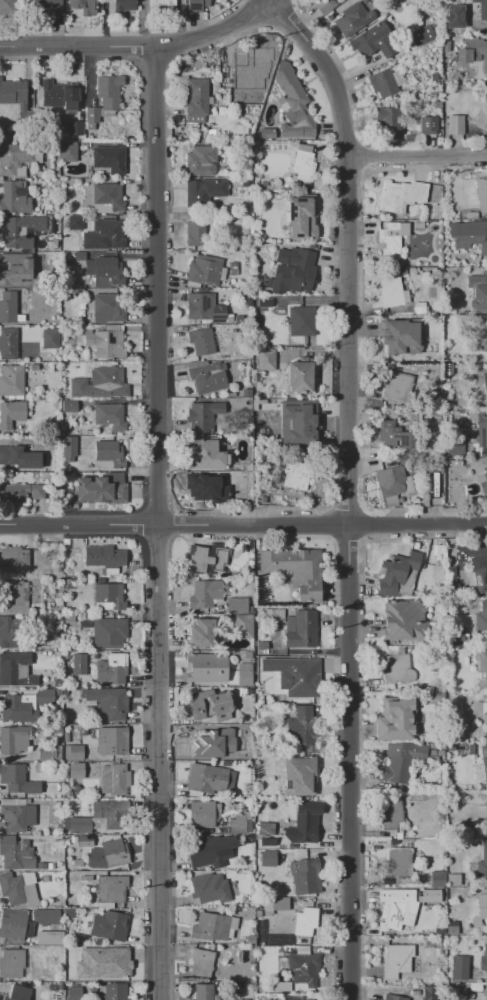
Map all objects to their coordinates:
building: (194, 5)
building: (323, 5)
building: (46, 6)
building: (82, 6)
building: (161, 6)
building: (7, 7)
building: (124, 7)
building: (466, 14)
building: (353, 19)
building: (421, 36)
building: (368, 39)
road: (138, 45)
building: (473, 53)
building: (244, 72)
building: (385, 82)
building: (109, 92)
building: (13, 93)
building: (59, 97)
building: (196, 99)
building: (293, 106)
building: (482, 115)
building: (91, 117)
building: (388, 120)
building: (455, 124)
building: (428, 125)
building: (75, 128)
building: (408, 138)
building: (68, 152)
building: (18, 158)
building: (110, 158)
building: (201, 161)
road: (416, 161)
building: (303, 163)
building: (204, 192)
building: (482, 194)
building: (401, 196)
building: (14, 198)
building: (107, 198)
building: (450, 205)
building: (436, 211)
building: (471, 215)
building: (302, 217)
building: (74, 222)
building: (195, 233)
building: (469, 234)
building: (106, 235)
building: (20, 242)
building: (389, 243)
building: (79, 255)
building: (233, 268)
building: (294, 270)
building: (205, 271)
building: (104, 272)
building: (478, 292)
building: (393, 293)
building: (9, 308)
building: (104, 308)
building: (206, 308)
building: (419, 308)
building: (302, 321)
building: (400, 337)
building: (50, 338)
building: (481, 338)
building: (203, 341)
building: (8, 343)
building: (102, 344)
building: (266, 359)
building: (67, 365)
building: (447, 369)
building: (299, 376)
building: (208, 377)
building: (12, 381)
building: (108, 381)
building: (485, 382)
building: (397, 388)
building: (246, 392)
building: (69, 406)
building: (11, 413)
building: (436, 415)
building: (109, 416)
building: (203, 416)
building: (297, 426)
building: (481, 430)
building: (393, 436)
building: (69, 448)
building: (109, 453)
building: (202, 454)
building: (19, 458)
building: (292, 476)
building: (393, 481)
building: (483, 483)
building: (439, 484)
building: (203, 488)
building: (101, 489)
road: (346, 489)
building: (20, 492)
road: (156, 522)
road: (243, 524)
building: (484, 547)
building: (104, 556)
building: (14, 557)
building: (219, 558)
building: (199, 559)
building: (295, 570)
building: (399, 575)
building: (481, 576)
building: (450, 581)
building: (16, 593)
building: (205, 594)
building: (108, 597)
building: (237, 605)
building: (274, 615)
building: (56, 618)
building: (68, 618)
building: (481, 619)
building: (404, 620)
building: (243, 626)
building: (301, 629)
building: (19, 633)
building: (109, 633)
building: (202, 634)
building: (262, 645)
building: (247, 655)
building: (79, 664)
building: (206, 667)
building: (481, 668)
building: (111, 669)
building: (397, 669)
building: (16, 670)
building: (244, 674)
building: (296, 675)
building: (57, 683)
building: (44, 696)
building: (105, 703)
building: (210, 705)
building: (482, 707)
building: (18, 708)
building: (395, 721)
building: (302, 727)
building: (56, 729)
building: (14, 740)
building: (112, 741)
building: (212, 742)
building: (471, 749)
building: (74, 752)
building: (47, 754)
building: (400, 761)
building: (484, 761)
building: (76, 771)
building: (300, 777)
building: (114, 778)
building: (17, 779)
building: (206, 779)
building: (247, 787)
building: (201, 813)
building: (111, 814)
building: (390, 815)
building: (486, 816)
building: (16, 818)
building: (304, 823)
building: (237, 824)
building: (80, 826)
building: (265, 829)
building: (85, 841)
building: (266, 842)
building: (114, 853)
building: (200, 853)
building: (16, 854)
building: (269, 858)
building: (399, 862)
building: (482, 862)
building: (41, 866)
building: (50, 866)
building: (305, 876)
building: (87, 878)
building: (437, 878)
building: (453, 879)
building: (111, 888)
building: (208, 889)
building: (17, 890)
building: (428, 895)
building: (276, 904)
building: (482, 905)
building: (399, 910)
building: (69, 913)
building: (44, 916)
building: (305, 921)
building: (109, 925)
building: (15, 926)
building: (214, 927)
building: (451, 927)
building: (50, 939)
building: (250, 939)
building: (484, 958)
building: (396, 960)
building: (201, 962)
building: (112, 963)
building: (12, 964)
building: (458, 967)
building: (305, 968)
road: (375, 989)
building: (463, 989)
building: (114, 991)
building: (203, 991)
building: (429, 992)
building: (19, 993)
building: (75, 993)
building: (393, 997)
building: (300, 998)
building: (238, 999)
building: (486, 999)

